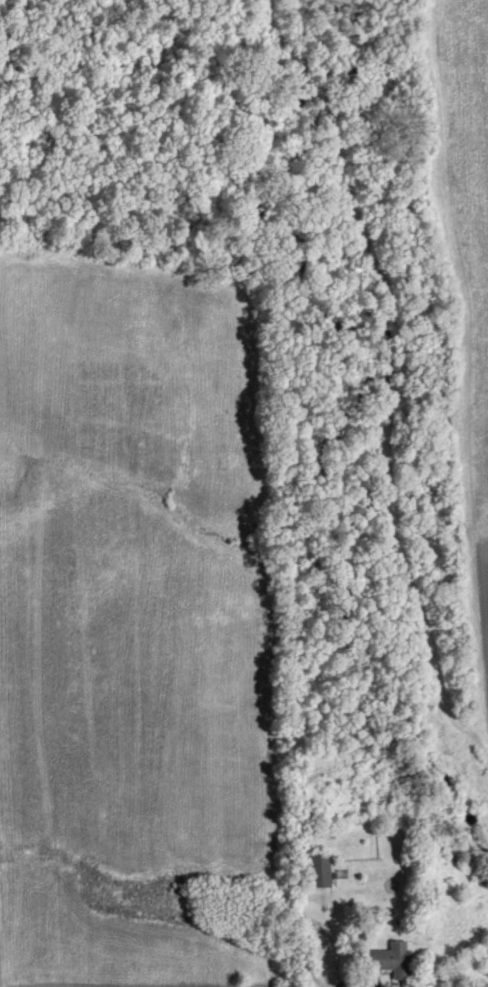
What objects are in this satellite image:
building: (323, 870)
building: (395, 960)
road: (372, 984)

